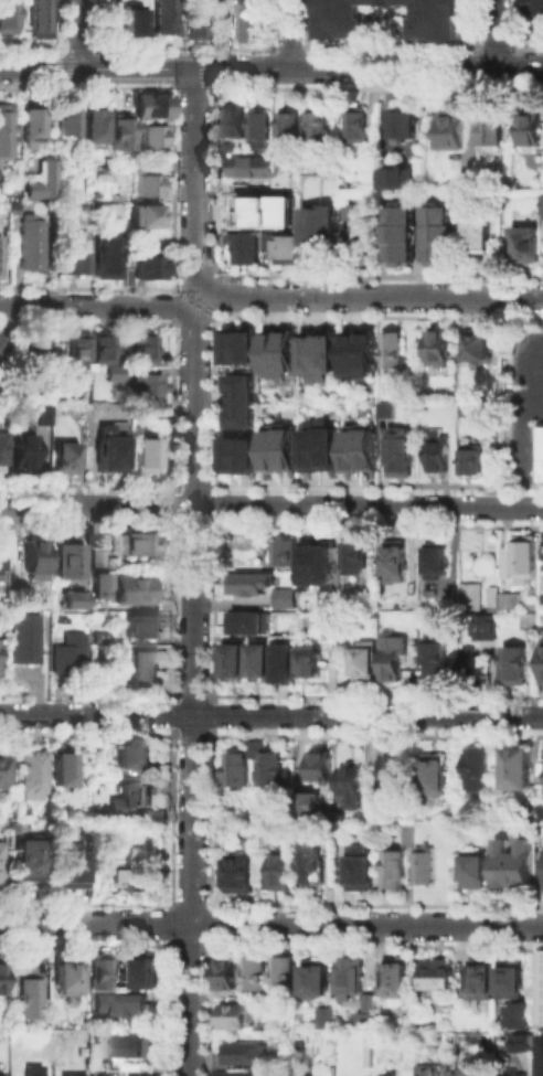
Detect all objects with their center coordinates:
building: (192, 0)
building: (533, 14)
building: (161, 15)
building: (7, 17)
building: (41, 18)
building: (130, 19)
building: (192, 22)
building: (248, 23)
building: (434, 24)
road: (78, 33)
road: (288, 33)
road: (492, 33)
road: (39, 68)
road: (137, 68)
road: (369, 68)
building: (151, 104)
building: (234, 122)
building: (402, 122)
building: (71, 124)
building: (31, 125)
building: (259, 126)
building: (360, 126)
building: (97, 127)
building: (289, 128)
building: (320, 129)
building: (494, 131)
building: (453, 132)
building: (531, 132)
building: (123, 134)
building: (151, 134)
building: (7, 135)
building: (226, 147)
building: (255, 169)
building: (396, 175)
road: (195, 177)
building: (40, 179)
building: (149, 188)
building: (241, 189)
building: (542, 203)
building: (105, 209)
building: (262, 211)
building: (349, 212)
building: (148, 219)
building: (480, 227)
building: (398, 231)
building: (437, 232)
building: (140, 241)
building: (326, 242)
building: (365, 244)
building: (33, 245)
building: (532, 246)
building: (284, 251)
building: (247, 252)
building: (1, 257)
building: (77, 257)
building: (107, 258)
building: (150, 270)
road: (201, 290)
road: (188, 295)
road: (374, 296)
road: (92, 305)
road: (201, 305)
road: (188, 310)
building: (242, 344)
building: (480, 347)
building: (2, 349)
building: (104, 350)
building: (280, 350)
building: (319, 351)
building: (361, 351)
building: (440, 351)
building: (145, 352)
building: (394, 352)
building: (39, 356)
building: (79, 358)
road: (525, 375)
building: (115, 376)
building: (149, 388)
building: (241, 398)
building: (385, 408)
building: (469, 411)
building: (44, 417)
road: (524, 440)
building: (322, 445)
building: (1, 448)
building: (283, 448)
building: (360, 449)
building: (397, 449)
building: (439, 449)
building: (104, 450)
building: (241, 451)
building: (540, 452)
building: (24, 456)
building: (148, 458)
building: (66, 461)
building: (473, 461)
road: (270, 505)
building: (143, 545)
building: (281, 550)
building: (542, 552)
building: (352, 557)
building: (525, 557)
building: (68, 558)
building: (99, 560)
building: (36, 562)
building: (436, 562)
building: (507, 562)
building: (395, 564)
building: (315, 566)
building: (98, 584)
building: (252, 584)
building: (138, 593)
building: (75, 598)
building: (471, 598)
building: (286, 600)
building: (508, 604)
building: (529, 620)
building: (251, 621)
building: (491, 624)
building: (145, 628)
building: (97, 636)
building: (28, 640)
building: (71, 656)
building: (231, 659)
building: (393, 659)
building: (257, 660)
building: (365, 660)
building: (435, 662)
building: (472, 662)
building: (541, 662)
building: (285, 663)
building: (311, 663)
building: (143, 669)
building: (513, 669)
road: (193, 695)
road: (270, 715)
building: (256, 749)
building: (135, 758)
building: (324, 768)
building: (3, 769)
building: (519, 769)
building: (63, 771)
building: (239, 771)
building: (274, 771)
building: (479, 771)
building: (398, 774)
building: (32, 776)
building: (436, 777)
building: (542, 780)
building: (354, 790)
building: (130, 797)
building: (313, 806)
building: (542, 812)
building: (13, 831)
building: (413, 833)
building: (30, 862)
building: (313, 864)
building: (515, 864)
building: (1, 866)
building: (72, 866)
building: (428, 866)
building: (541, 866)
building: (363, 871)
building: (397, 873)
building: (284, 874)
building: (478, 875)
building: (137, 876)
building: (116, 877)
building: (242, 877)
building: (266, 877)
road: (270, 924)
building: (97, 973)
building: (148, 973)
building: (227, 974)
building: (256, 976)
building: (284, 977)
building: (352, 977)
building: (437, 977)
building: (65, 978)
building: (396, 979)
building: (1, 980)
building: (317, 980)
building: (483, 980)
building: (509, 981)
building: (541, 987)
building: (31, 1001)
building: (373, 1008)
building: (123, 1011)
building: (517, 1013)
building: (236, 1018)
building: (327, 1018)
building: (132, 1050)
building: (542, 1054)
building: (246, 1055)
building: (418, 1070)
building: (32, 1073)
building: (120, 1073)
building: (392, 1074)
building: (237, 1075)
building: (508, 1075)

